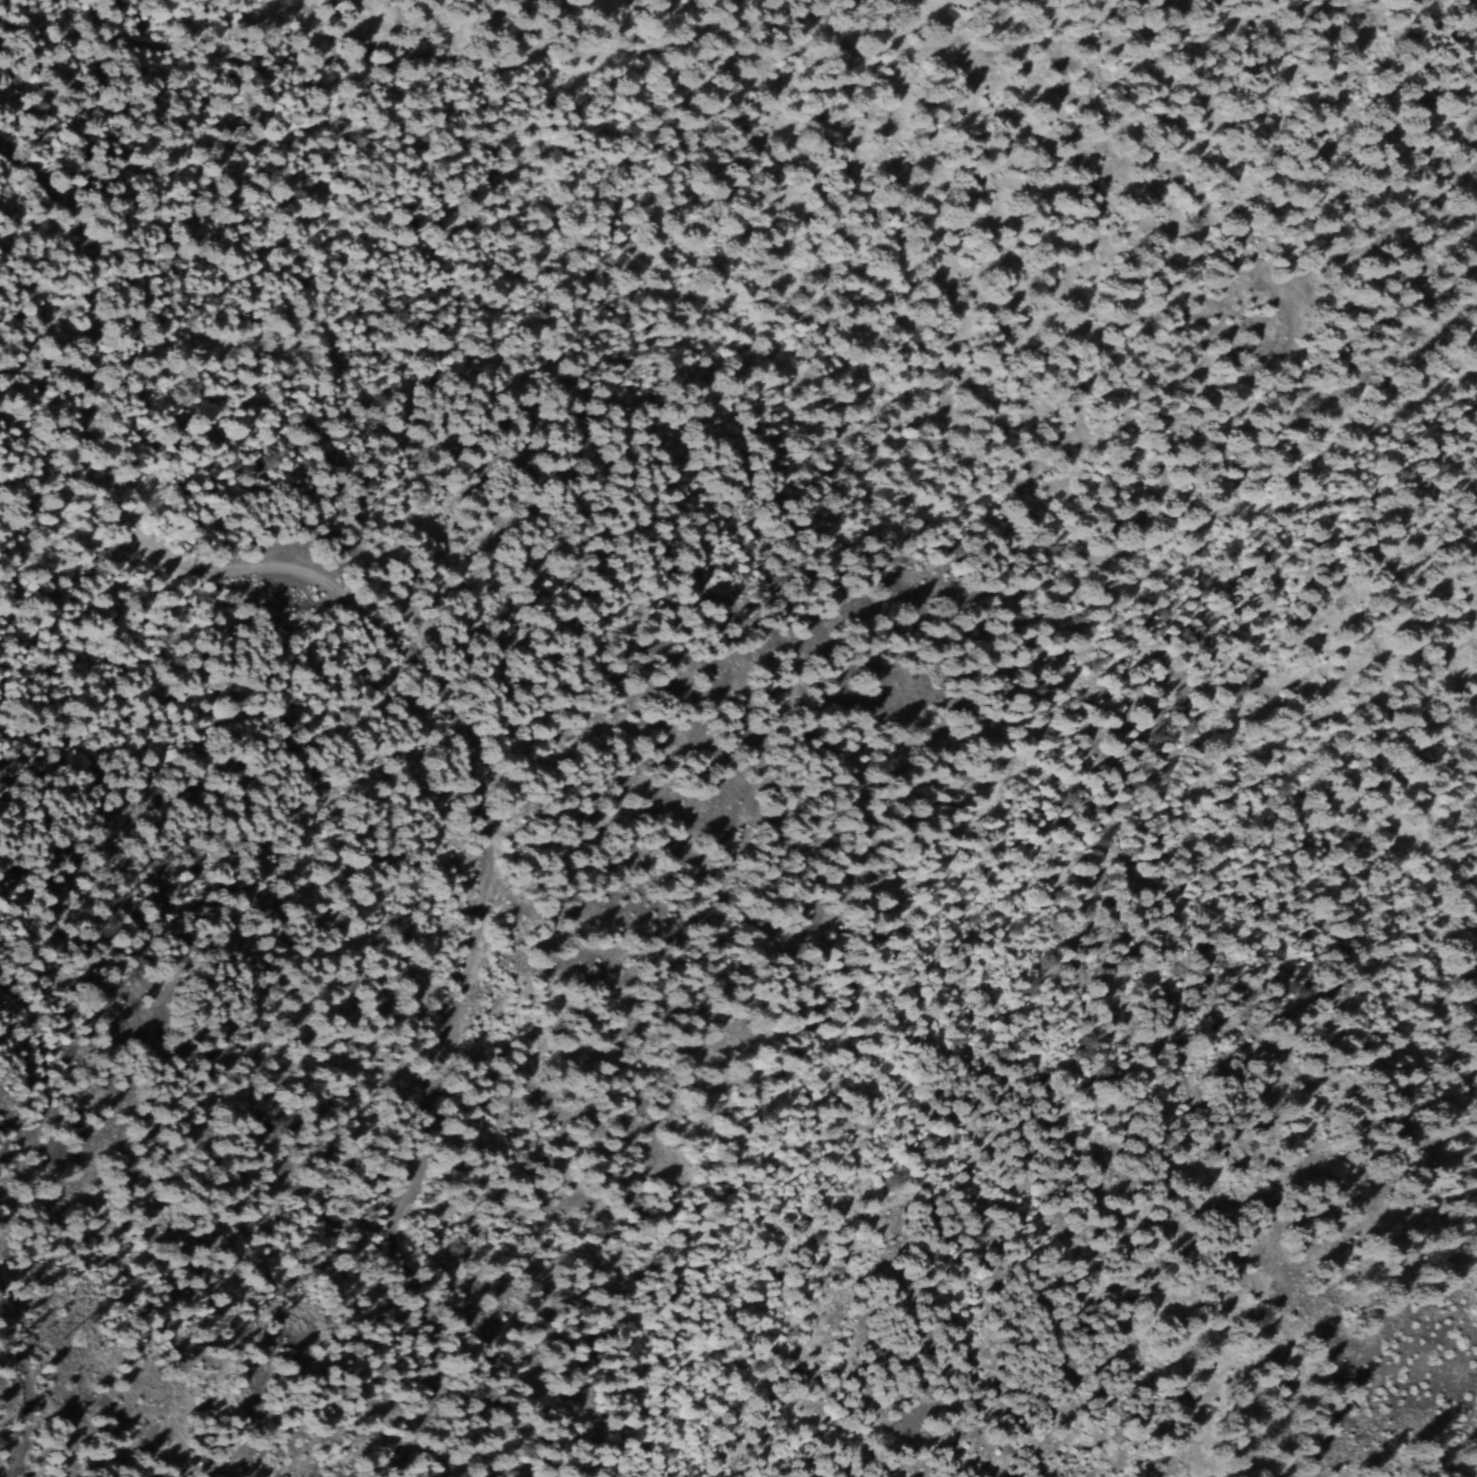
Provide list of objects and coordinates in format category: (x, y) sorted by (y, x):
road: (427, 734)

